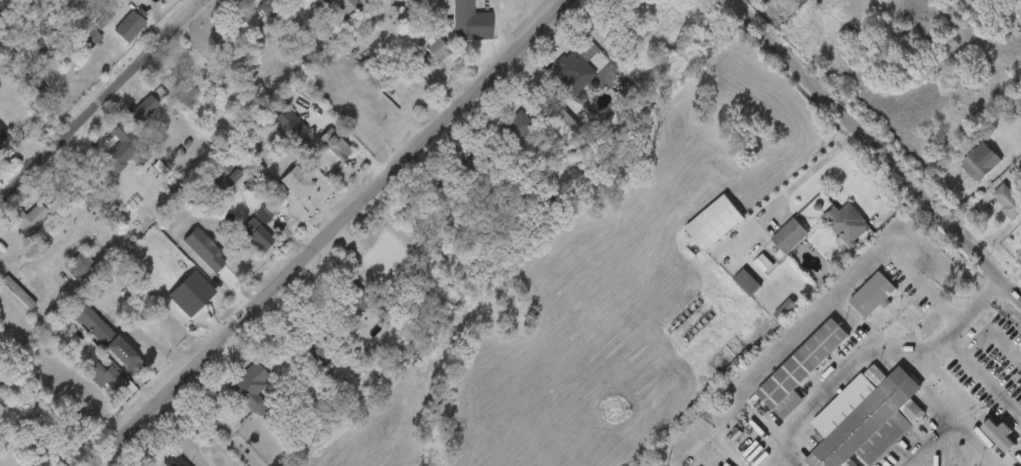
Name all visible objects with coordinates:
building: (273, 7)
building: (330, 12)
building: (251, 14)
building: (471, 21)
building: (132, 26)
building: (453, 28)
building: (115, 31)
building: (43, 32)
building: (431, 55)
building: (416, 62)
building: (571, 63)
road: (103, 100)
building: (144, 109)
building: (127, 117)
building: (521, 128)
building: (545, 132)
building: (500, 134)
building: (4, 137)
road: (878, 143)
building: (335, 144)
building: (318, 152)
building: (108, 156)
building: (981, 164)
road: (813, 170)
building: (962, 170)
building: (473, 171)
building: (453, 175)
building: (210, 180)
building: (280, 190)
building: (1008, 200)
building: (991, 209)
building: (29, 217)
building: (248, 222)
building: (724, 223)
building: (14, 226)
building: (847, 226)
building: (697, 230)
road: (326, 231)
building: (830, 231)
building: (261, 235)
building: (790, 236)
building: (1015, 240)
building: (240, 242)
building: (772, 243)
building: (78, 264)
building: (746, 270)
building: (62, 272)
building: (748, 281)
building: (729, 290)
building: (874, 294)
building: (353, 300)
building: (855, 302)
building: (768, 318)
building: (693, 319)
road: (272, 331)
building: (105, 336)
road: (936, 343)
building: (90, 345)
road: (136, 351)
building: (315, 355)
building: (299, 362)
building: (736, 364)
building: (801, 369)
building: (107, 376)
building: (89, 384)
building: (251, 386)
building: (234, 395)
building: (868, 417)
road: (183, 430)
building: (1000, 433)
road: (926, 439)
road: (979, 442)
building: (982, 442)
building: (174, 459)
building: (157, 463)
road: (993, 463)
road: (95, 464)

